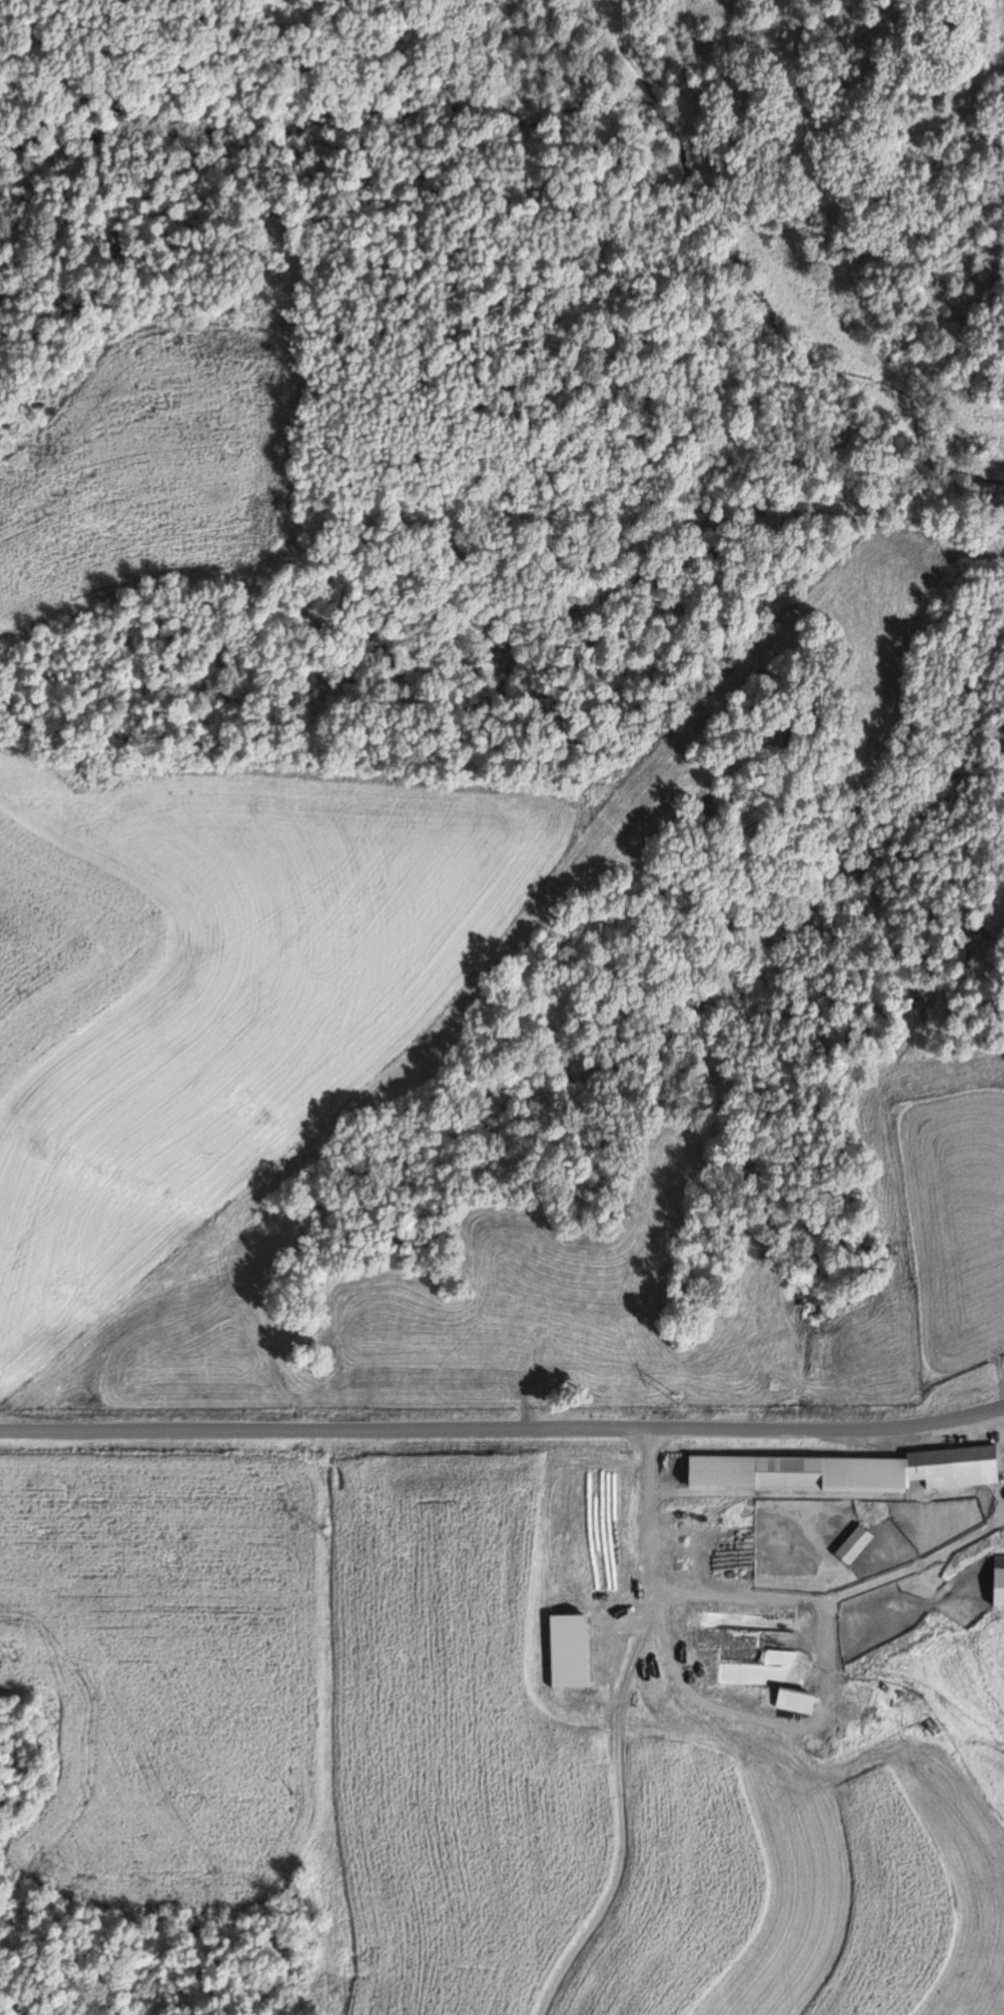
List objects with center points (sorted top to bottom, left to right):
power tower: (676, 1397)
road: (994, 1413)
road: (505, 1431)
building: (950, 1472)
building: (785, 1478)
power tower: (325, 1531)
building: (851, 1544)
building: (997, 1581)
road: (771, 1597)
building: (788, 1626)
power tower: (10, 1652)

